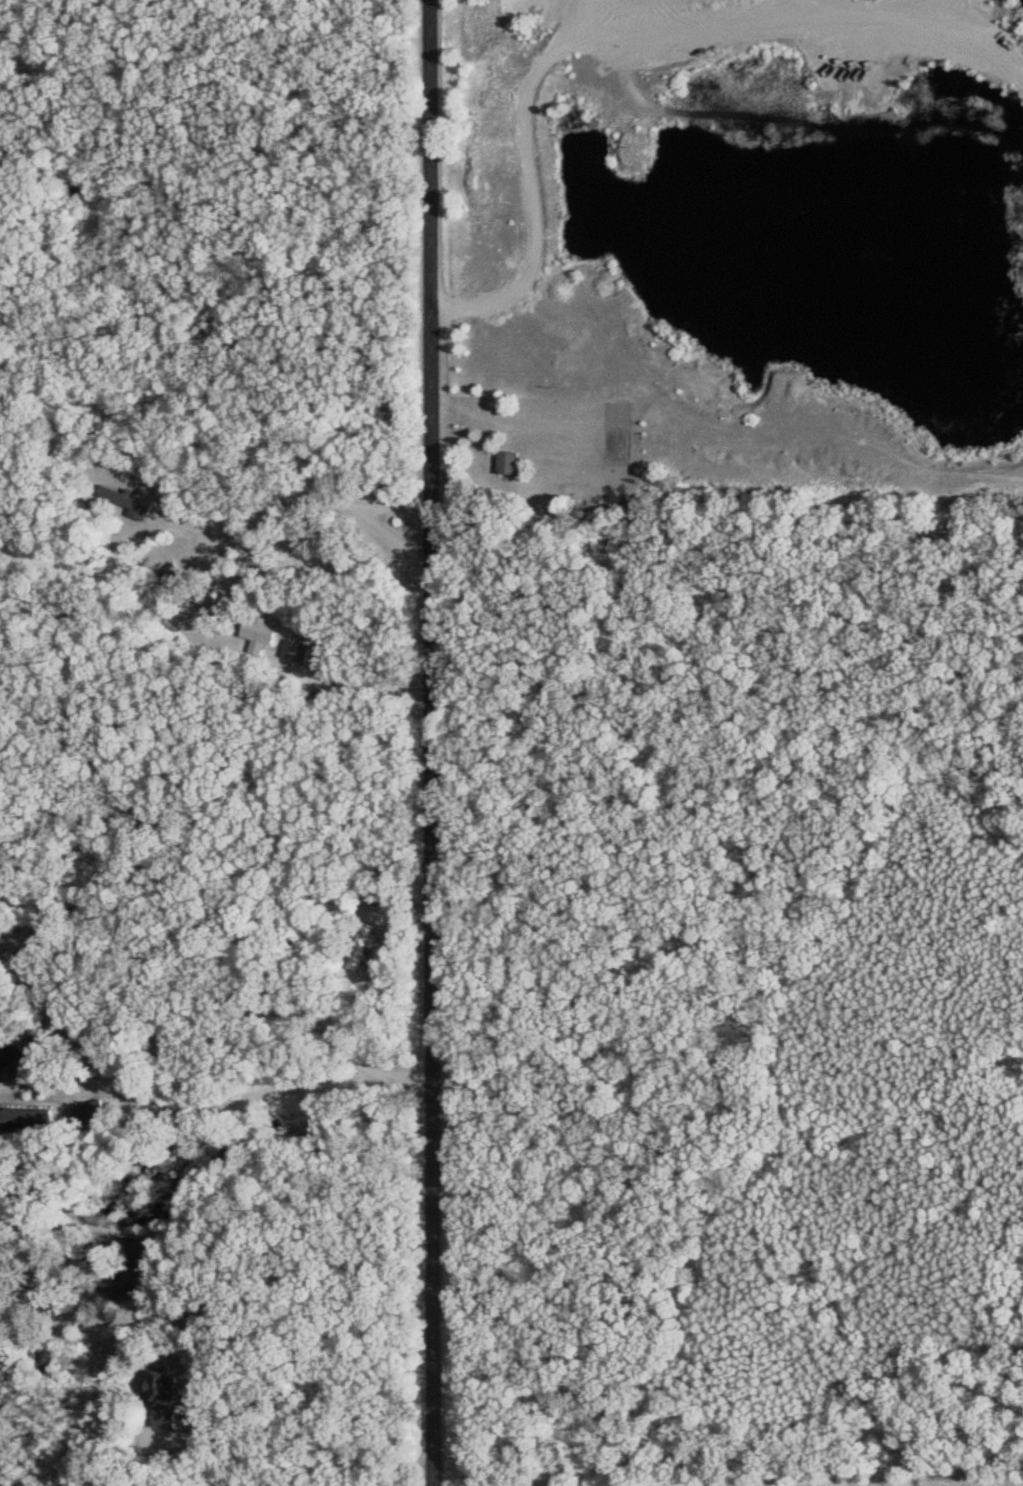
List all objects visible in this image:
quarry: (515, 239)
road: (220, 446)
building: (514, 460)
building: (263, 632)
road: (437, 743)
road: (212, 888)
building: (102, 1109)
building: (34, 1118)
building: (171, 1397)
road: (736, 1477)

